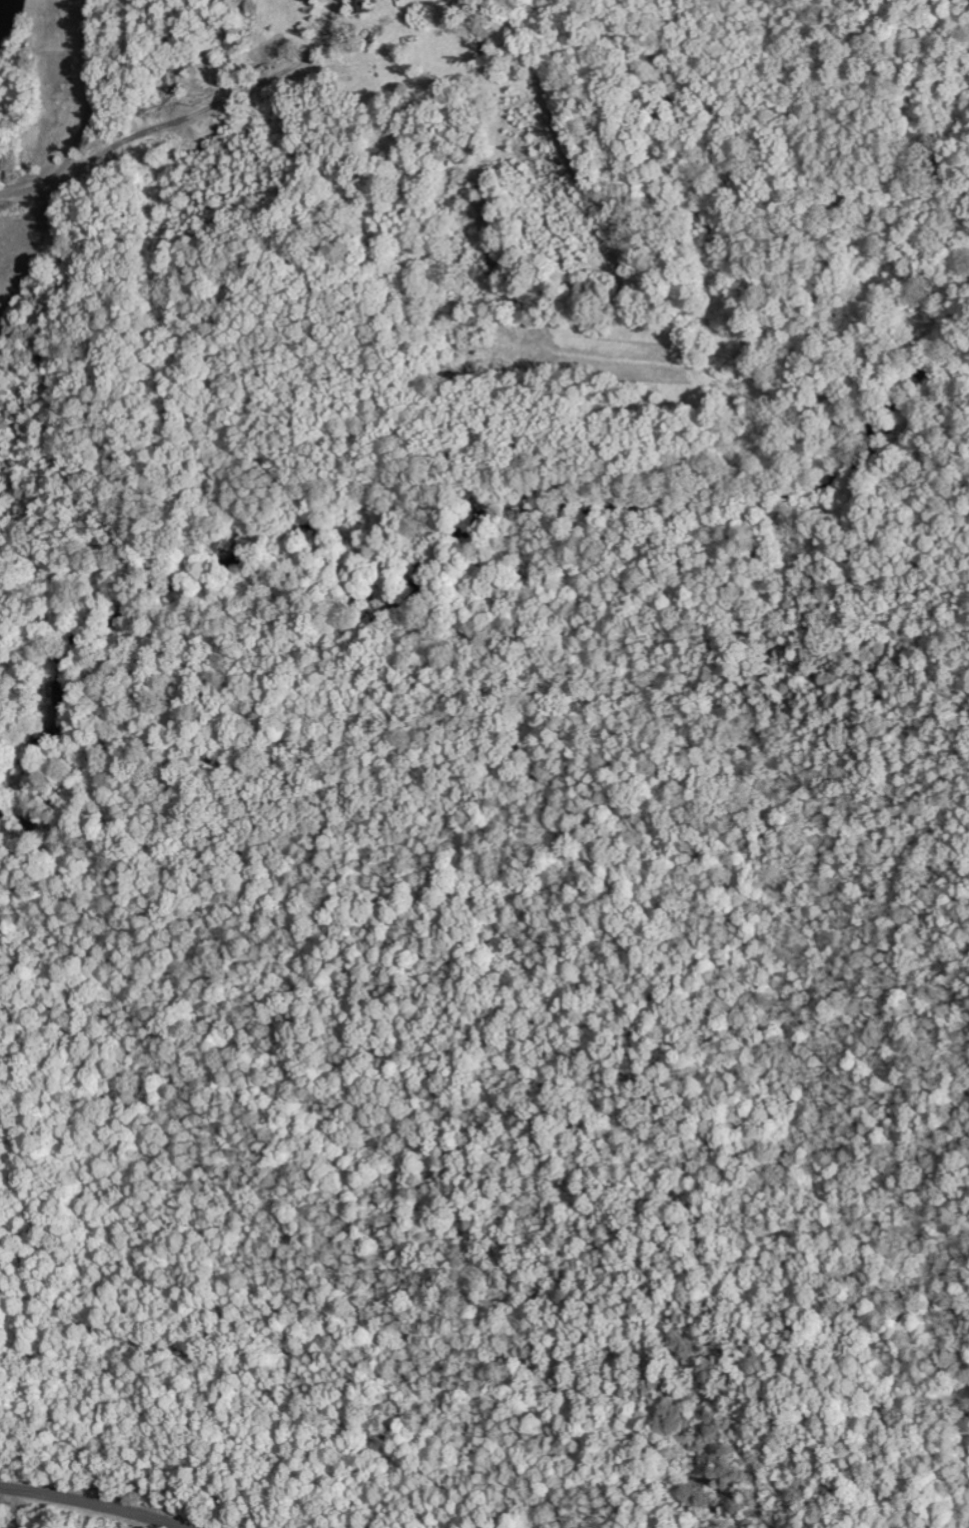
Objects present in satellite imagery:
road: (92, 1502)

